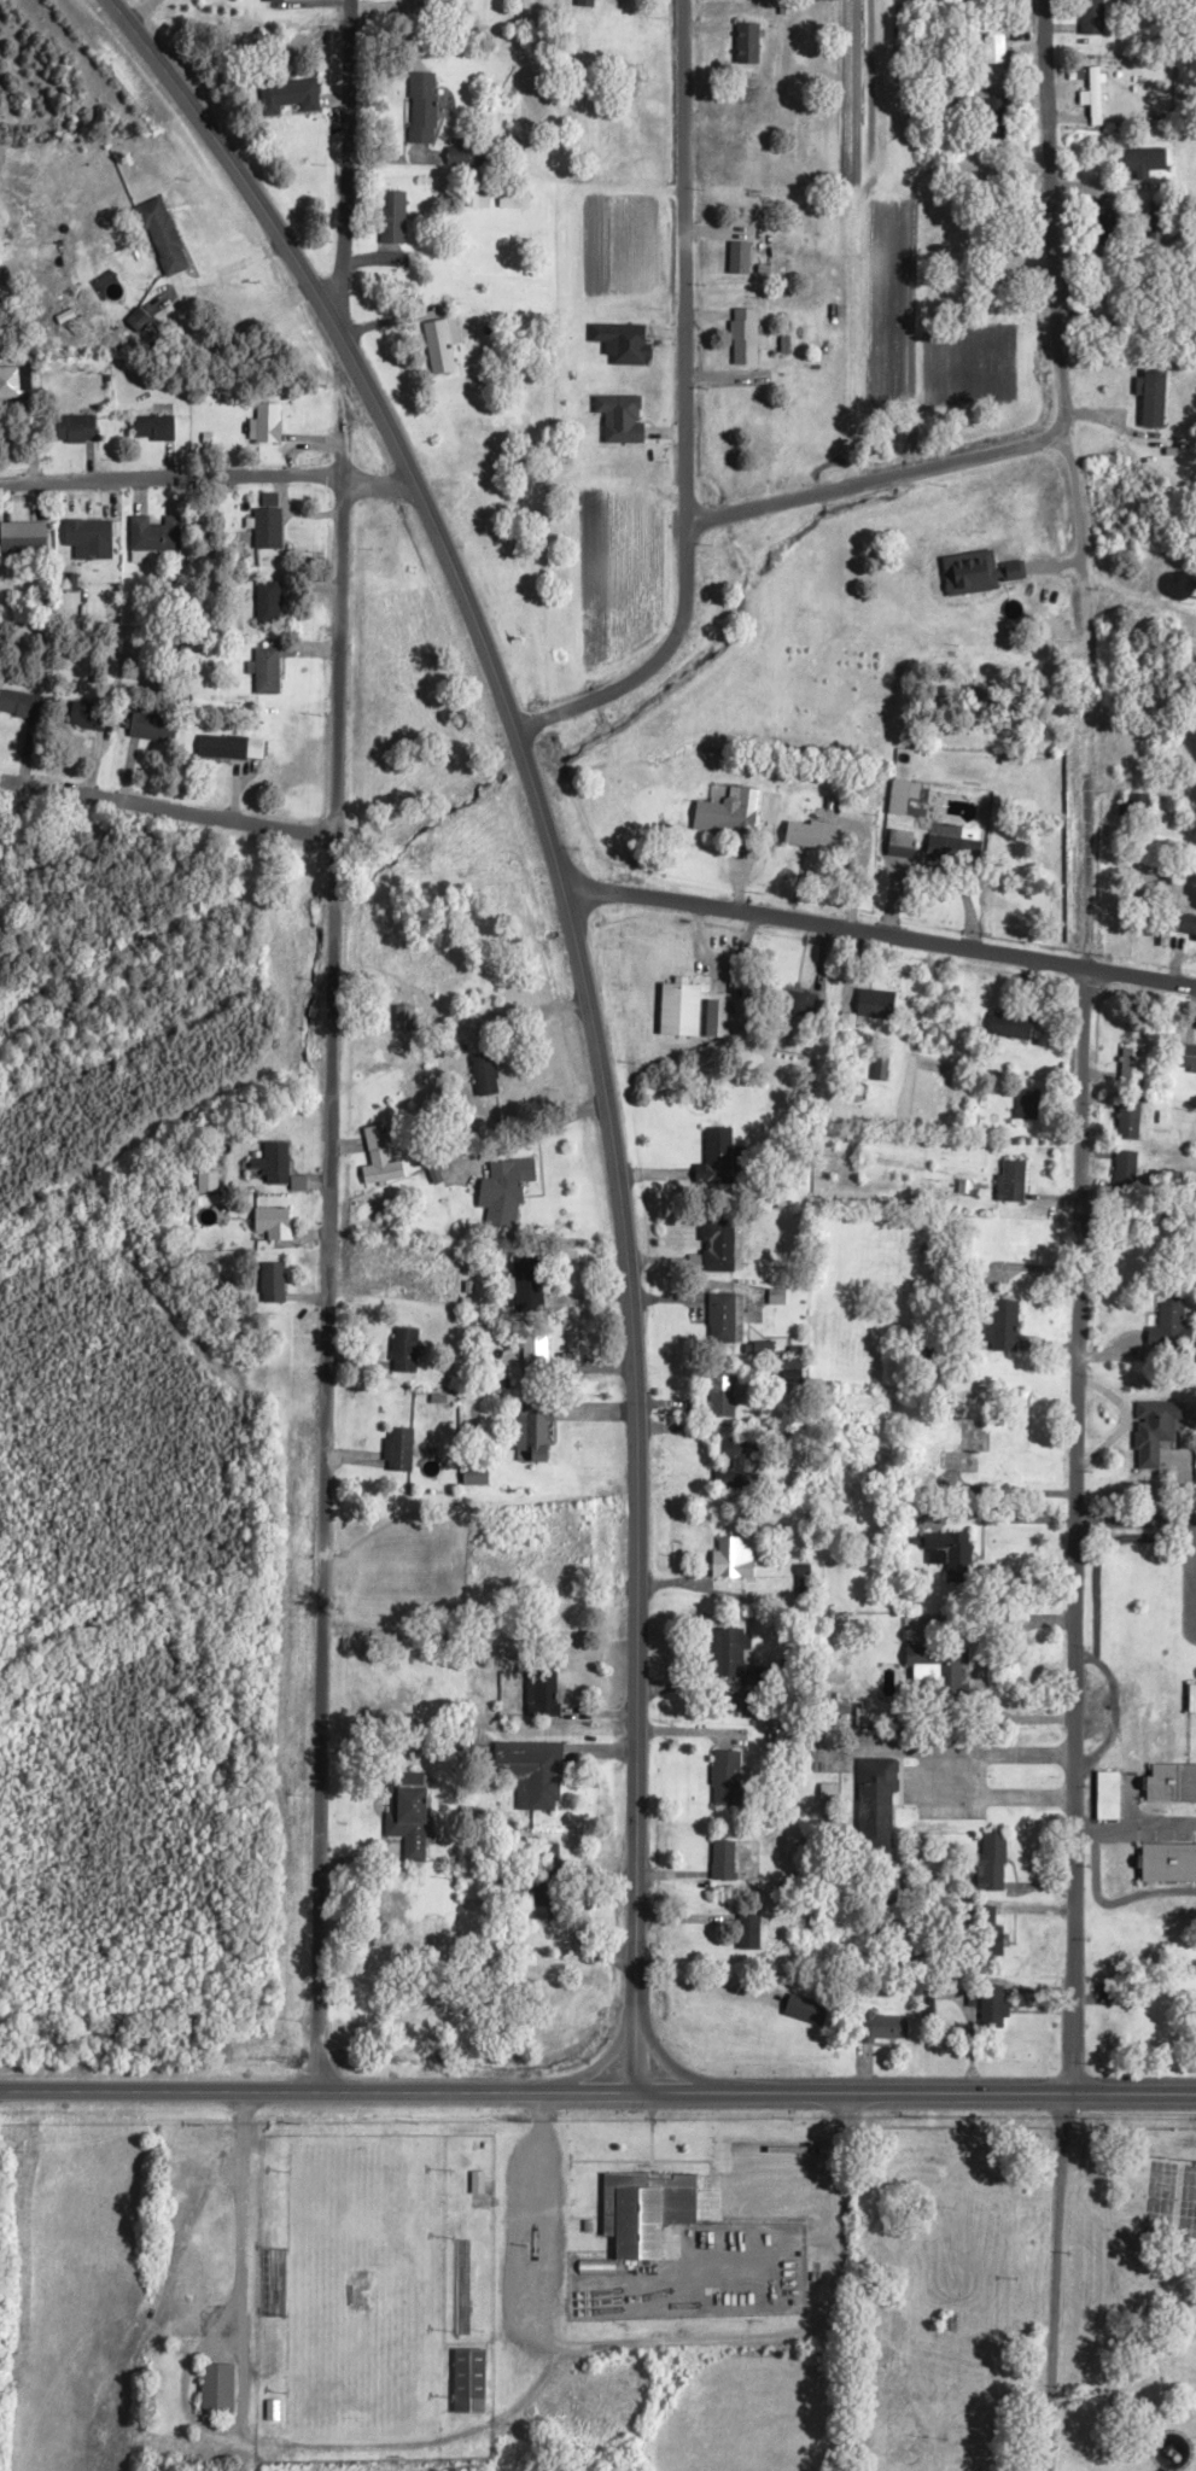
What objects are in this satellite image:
building: (275, 1)
building: (921, 1)
building: (588, 5)
building: (1093, 21)
building: (749, 47)
building: (998, 56)
building: (1095, 94)
building: (293, 98)
building: (424, 110)
building: (998, 123)
building: (480, 159)
building: (1145, 160)
road: (344, 162)
building: (479, 201)
building: (515, 203)
building: (1155, 218)
building: (395, 220)
building: (1108, 232)
building: (165, 240)
building: (741, 261)
building: (746, 340)
building: (623, 346)
building: (441, 351)
building: (16, 386)
road: (1058, 407)
road: (685, 415)
building: (623, 421)
building: (270, 427)
building: (156, 431)
building: (77, 432)
road: (170, 484)
road: (378, 489)
building: (269, 532)
building: (157, 537)
building: (25, 541)
building: (92, 542)
building: (980, 576)
building: (269, 606)
road: (337, 659)
building: (268, 673)
building: (22, 707)
building: (91, 719)
building: (153, 730)
building: (224, 749)
building: (904, 799)
building: (1136, 807)
road: (167, 811)
building: (727, 819)
building: (812, 837)
building: (903, 847)
building: (946, 852)
building: (1186, 927)
road: (880, 941)
road: (576, 947)
building: (798, 1006)
building: (877, 1007)
building: (682, 1012)
building: (718, 1020)
building: (1013, 1029)
building: (1188, 1061)
building: (1133, 1068)
building: (882, 1071)
building: (488, 1079)
building: (1028, 1108)
building: (1130, 1121)
building: (720, 1157)
building: (380, 1163)
building: (278, 1167)
building: (1126, 1172)
building: (1014, 1185)
building: (506, 1196)
building: (278, 1227)
building: (720, 1249)
building: (529, 1284)
building: (273, 1286)
building: (725, 1322)
building: (1171, 1326)
building: (1008, 1328)
building: (407, 1348)
building: (538, 1359)
building: (723, 1395)
building: (536, 1433)
building: (1157, 1433)
road: (1077, 1447)
building: (970, 1450)
building: (399, 1451)
road: (325, 1464)
building: (736, 1467)
road: (1136, 1521)
building: (953, 1558)
building: (735, 1560)
building: (734, 1663)
building: (943, 1669)
building: (1194, 1693)
building: (546, 1696)
building: (533, 1770)
building: (1183, 1776)
building: (728, 1782)
building: (1113, 1788)
building: (1180, 1797)
building: (877, 1804)
building: (412, 1816)
building: (725, 1864)
building: (994, 1865)
building: (549, 1900)
building: (752, 1935)
building: (994, 2004)
building: (810, 2013)
building: (887, 2032)
building: (1119, 2033)
road: (636, 2052)
road: (601, 2064)
road: (673, 2068)
road: (319, 2089)
road: (687, 2095)
road: (965, 2096)
building: (485, 2187)
building: (649, 2214)
road: (243, 2259)
road: (835, 2283)
road: (1057, 2284)
park: (362, 2288)
park: (1025, 2295)
road: (561, 2349)
building: (472, 2385)
building: (220, 2393)

